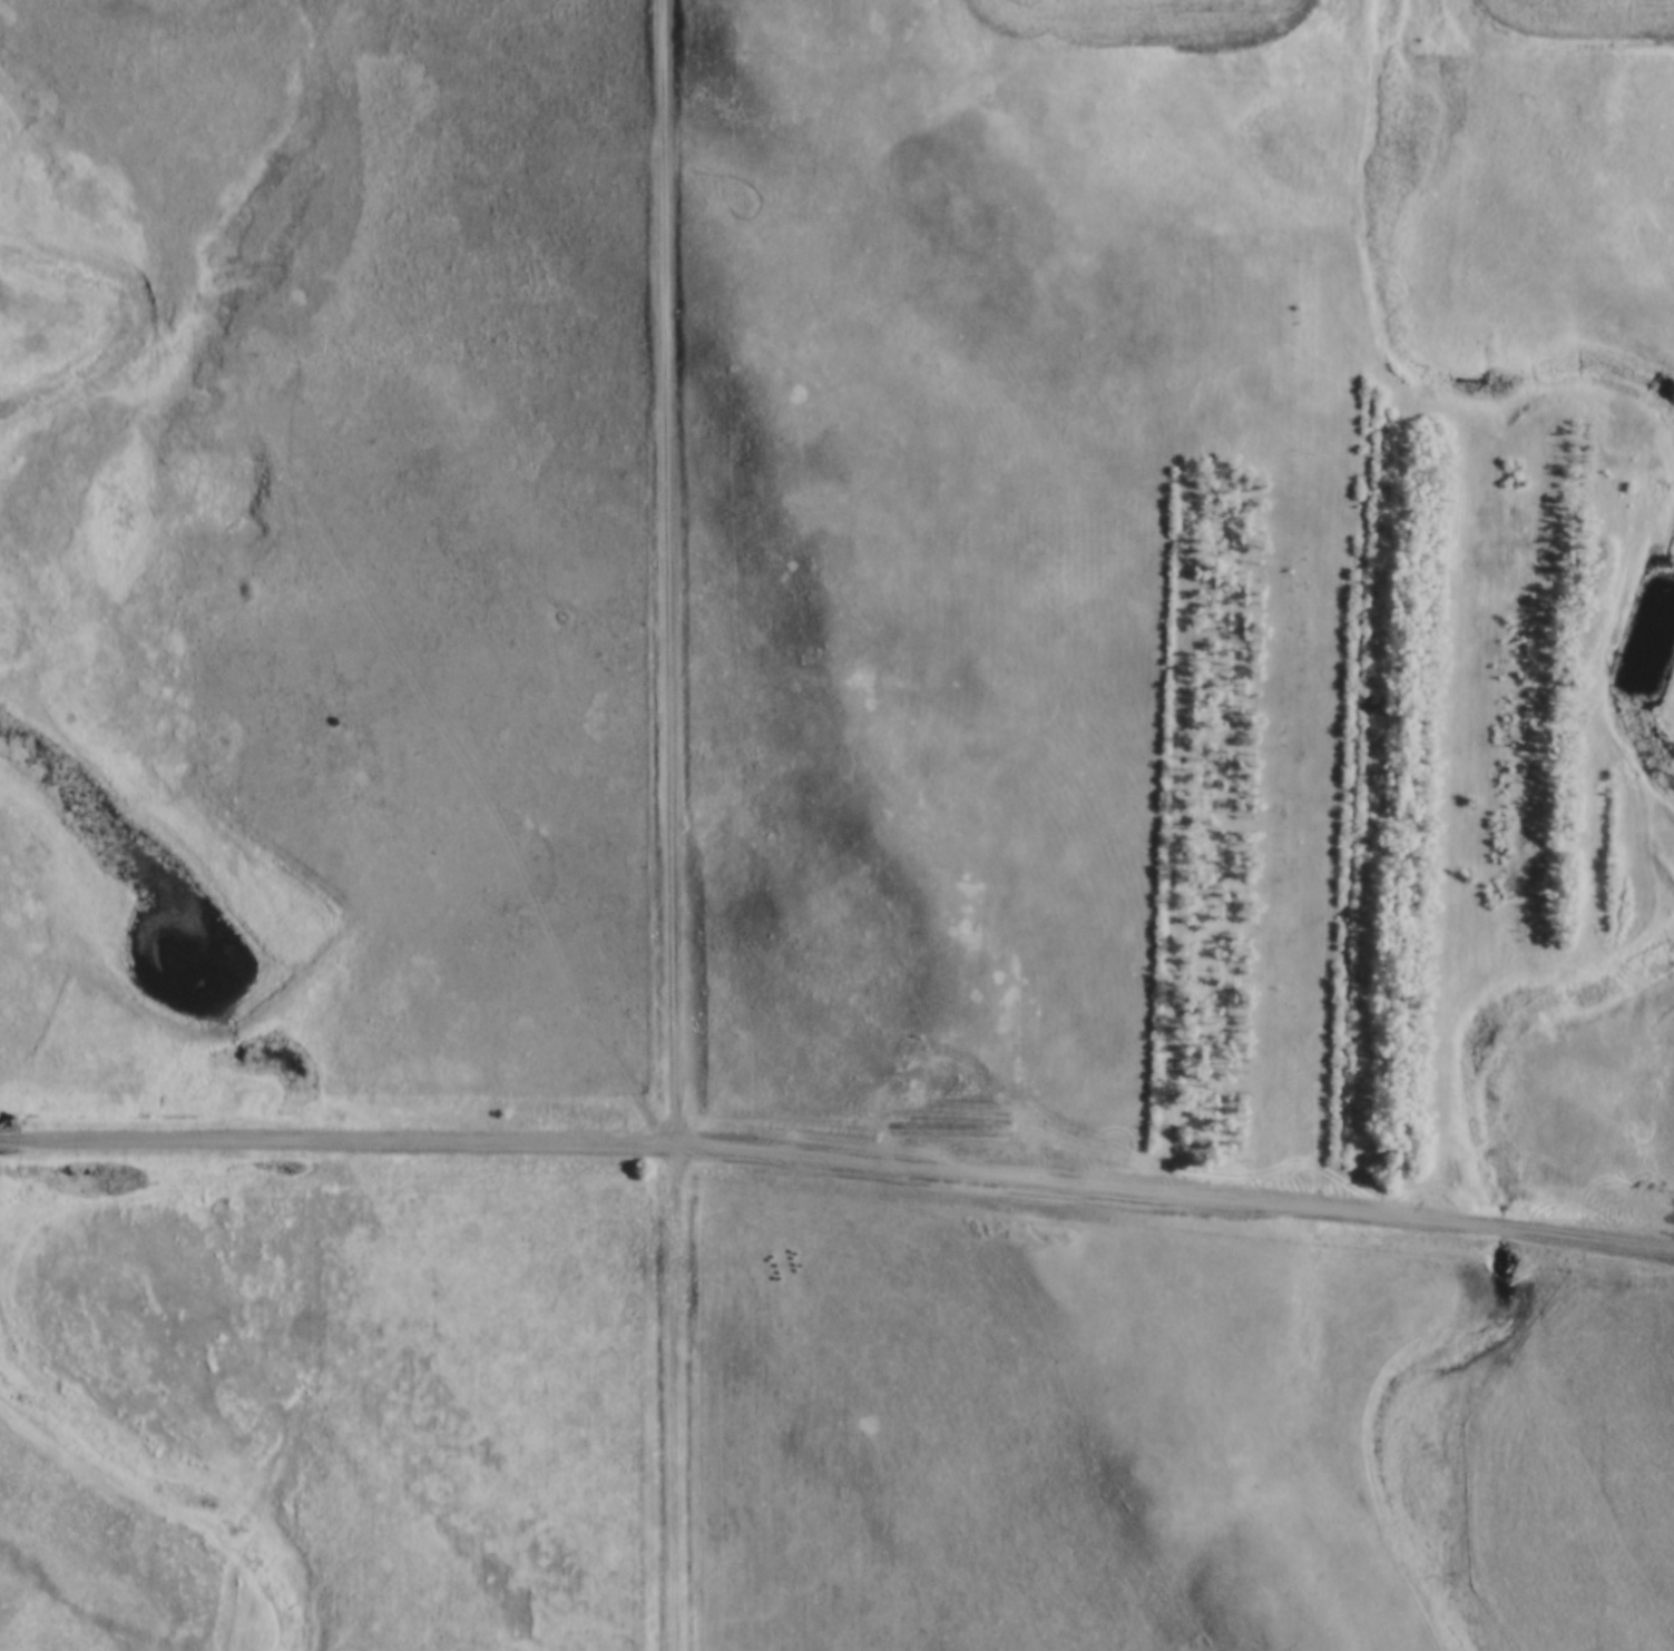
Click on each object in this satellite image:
road: (670, 825)
road: (839, 1153)

